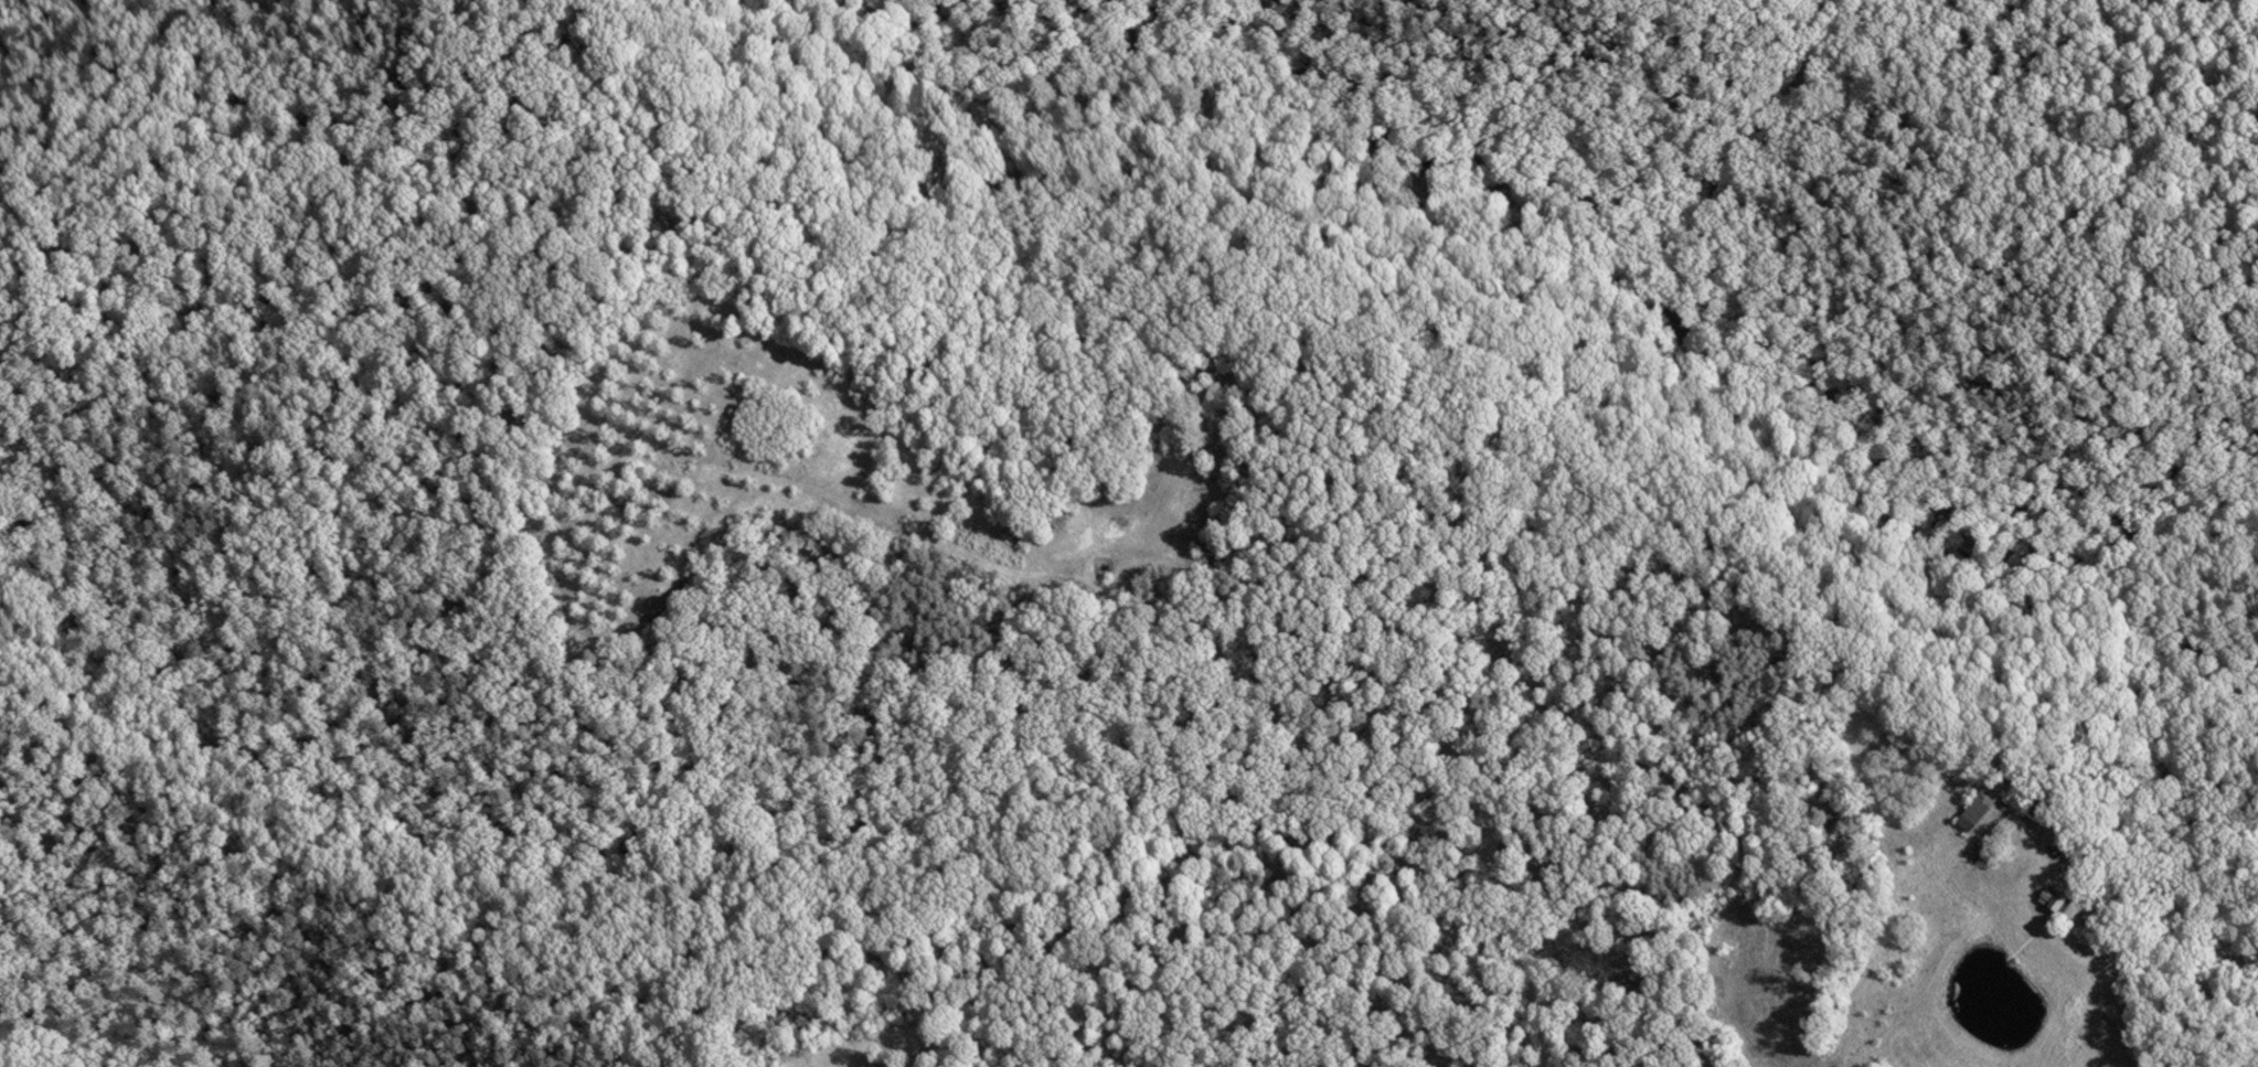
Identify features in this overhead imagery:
building: (2039, 812)
building: (1974, 813)
building: (2055, 899)
road: (2218, 1005)

